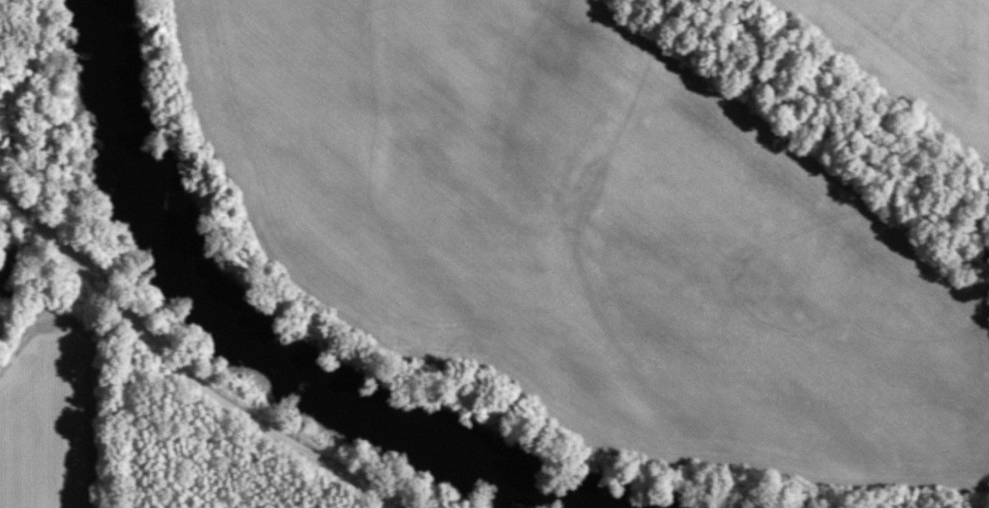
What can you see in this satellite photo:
road: (942, 62)
river: (265, 331)
road: (184, 367)

